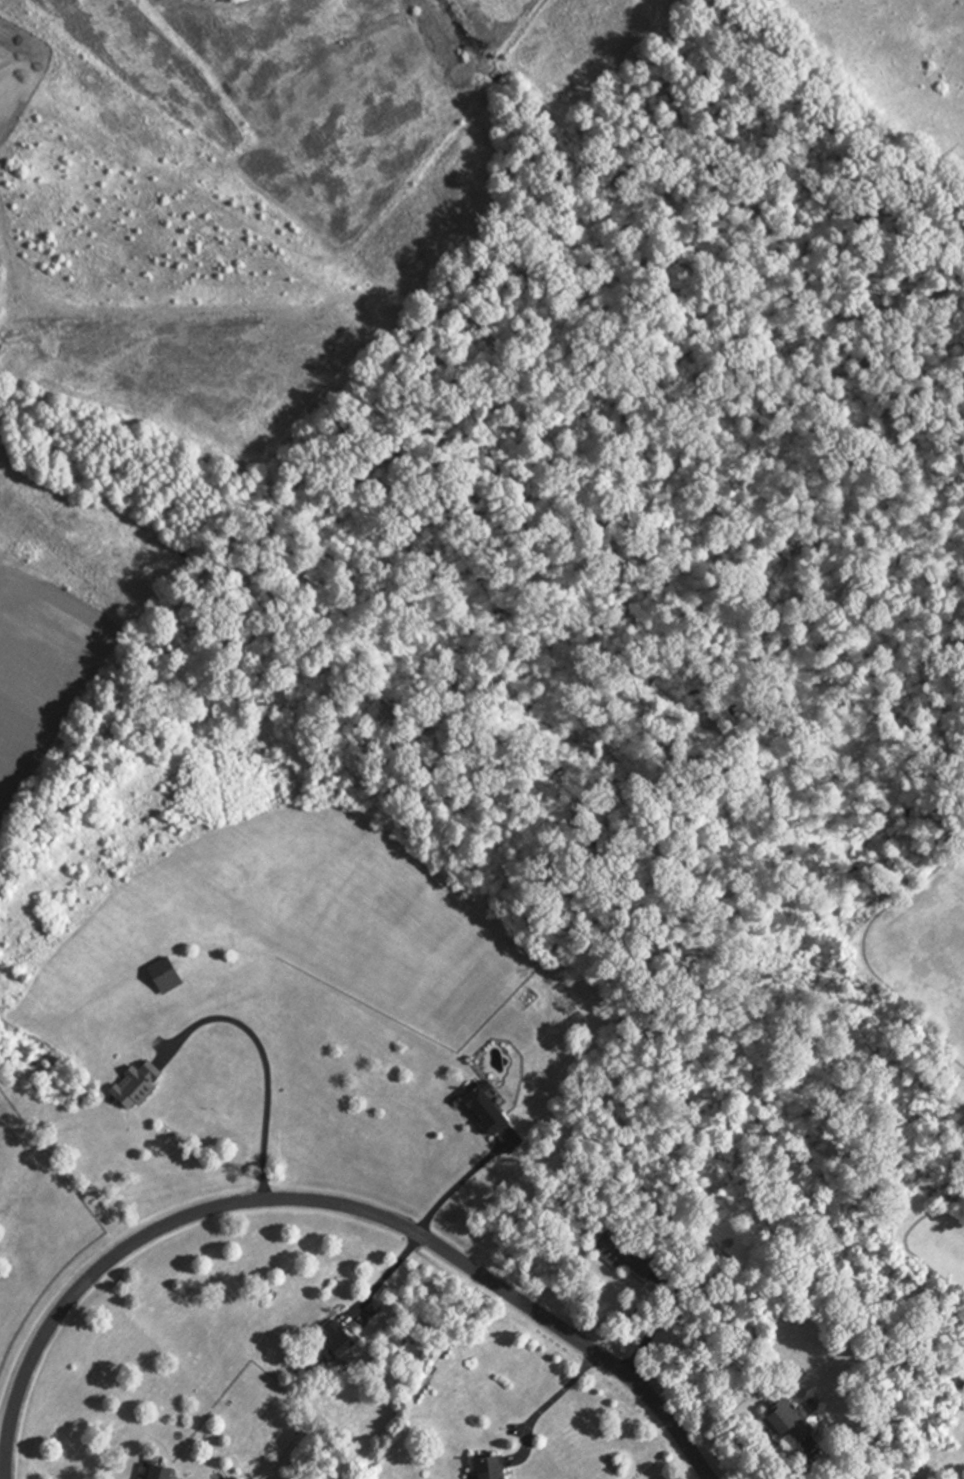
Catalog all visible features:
crop: (899, 56)
crop: (42, 658)
building: (172, 975)
road: (266, 1065)
building: (135, 1084)
building: (484, 1108)
road: (457, 1189)
road: (328, 1203)
building: (624, 1255)
road: (389, 1272)
road: (652, 1330)
building: (334, 1341)
road: (564, 1393)
building: (787, 1419)
road: (806, 1464)
building: (487, 1467)
building: (158, 1472)

